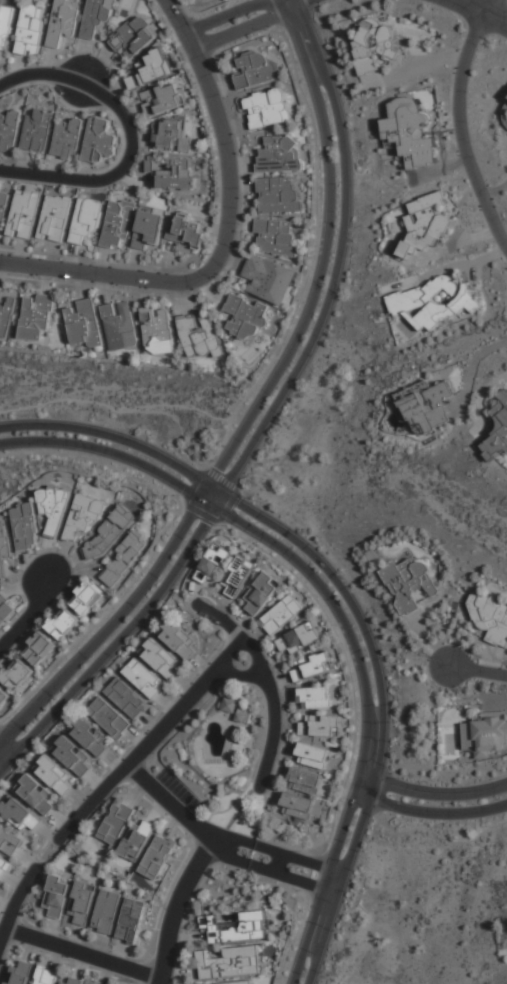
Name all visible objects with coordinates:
road: (451, 0)
road: (493, 8)
road: (485, 14)
road: (223, 16)
building: (96, 19)
building: (64, 21)
road: (253, 25)
building: (4, 27)
building: (30, 29)
building: (134, 36)
road: (303, 38)
building: (374, 44)
building: (150, 69)
building: (255, 69)
road: (97, 92)
building: (164, 99)
building: (267, 108)
building: (9, 130)
building: (37, 130)
road: (462, 132)
building: (407, 133)
road: (226, 135)
building: (171, 136)
building: (68, 137)
building: (99, 140)
building: (279, 154)
building: (173, 174)
road: (58, 175)
building: (277, 196)
building: (3, 203)
building: (24, 213)
building: (55, 219)
building: (86, 220)
building: (428, 222)
building: (117, 224)
building: (148, 228)
building: (186, 230)
building: (275, 237)
road: (314, 243)
road: (100, 272)
building: (267, 279)
road: (313, 294)
road: (328, 295)
building: (434, 301)
building: (6, 312)
building: (36, 316)
building: (245, 317)
building: (83, 323)
building: (119, 325)
building: (157, 330)
building: (198, 335)
building: (427, 406)
building: (497, 432)
road: (116, 437)
road: (112, 452)
road: (204, 467)
building: (54, 508)
building: (84, 515)
building: (24, 526)
building: (109, 533)
road: (156, 540)
building: (3, 548)
building: (124, 558)
building: (212, 565)
building: (237, 576)
building: (407, 584)
building: (260, 593)
building: (86, 598)
road: (353, 607)
building: (6, 609)
road: (339, 612)
road: (24, 613)
building: (281, 614)
building: (490, 618)
road: (113, 622)
building: (62, 623)
road: (119, 639)
building: (299, 639)
building: (178, 640)
building: (39, 648)
building: (160, 660)
building: (311, 666)
road: (476, 667)
building: (15, 674)
road: (239, 676)
building: (143, 678)
road: (267, 683)
building: (3, 697)
building: (127, 698)
building: (314, 698)
building: (230, 705)
building: (109, 718)
building: (319, 725)
road: (355, 732)
building: (485, 734)
building: (89, 736)
road: (151, 741)
road: (6, 751)
building: (312, 755)
building: (72, 756)
building: (55, 775)
building: (304, 781)
road: (432, 793)
building: (37, 795)
road: (169, 803)
building: (297, 806)
building: (19, 813)
road: (429, 813)
building: (116, 822)
road: (432, 830)
building: (137, 840)
building: (10, 841)
road: (232, 841)
building: (158, 856)
road: (45, 857)
road: (226, 858)
road: (293, 859)
road: (279, 865)
building: (4, 868)
road: (288, 878)
road: (326, 879)
road: (334, 881)
road: (341, 881)
building: (58, 896)
road: (14, 903)
building: (82, 904)
road: (174, 908)
building: (106, 912)
building: (133, 920)
building: (238, 927)
road: (81, 955)
building: (227, 963)
building: (19, 972)
building: (46, 976)
building: (69, 981)
building: (237, 982)

